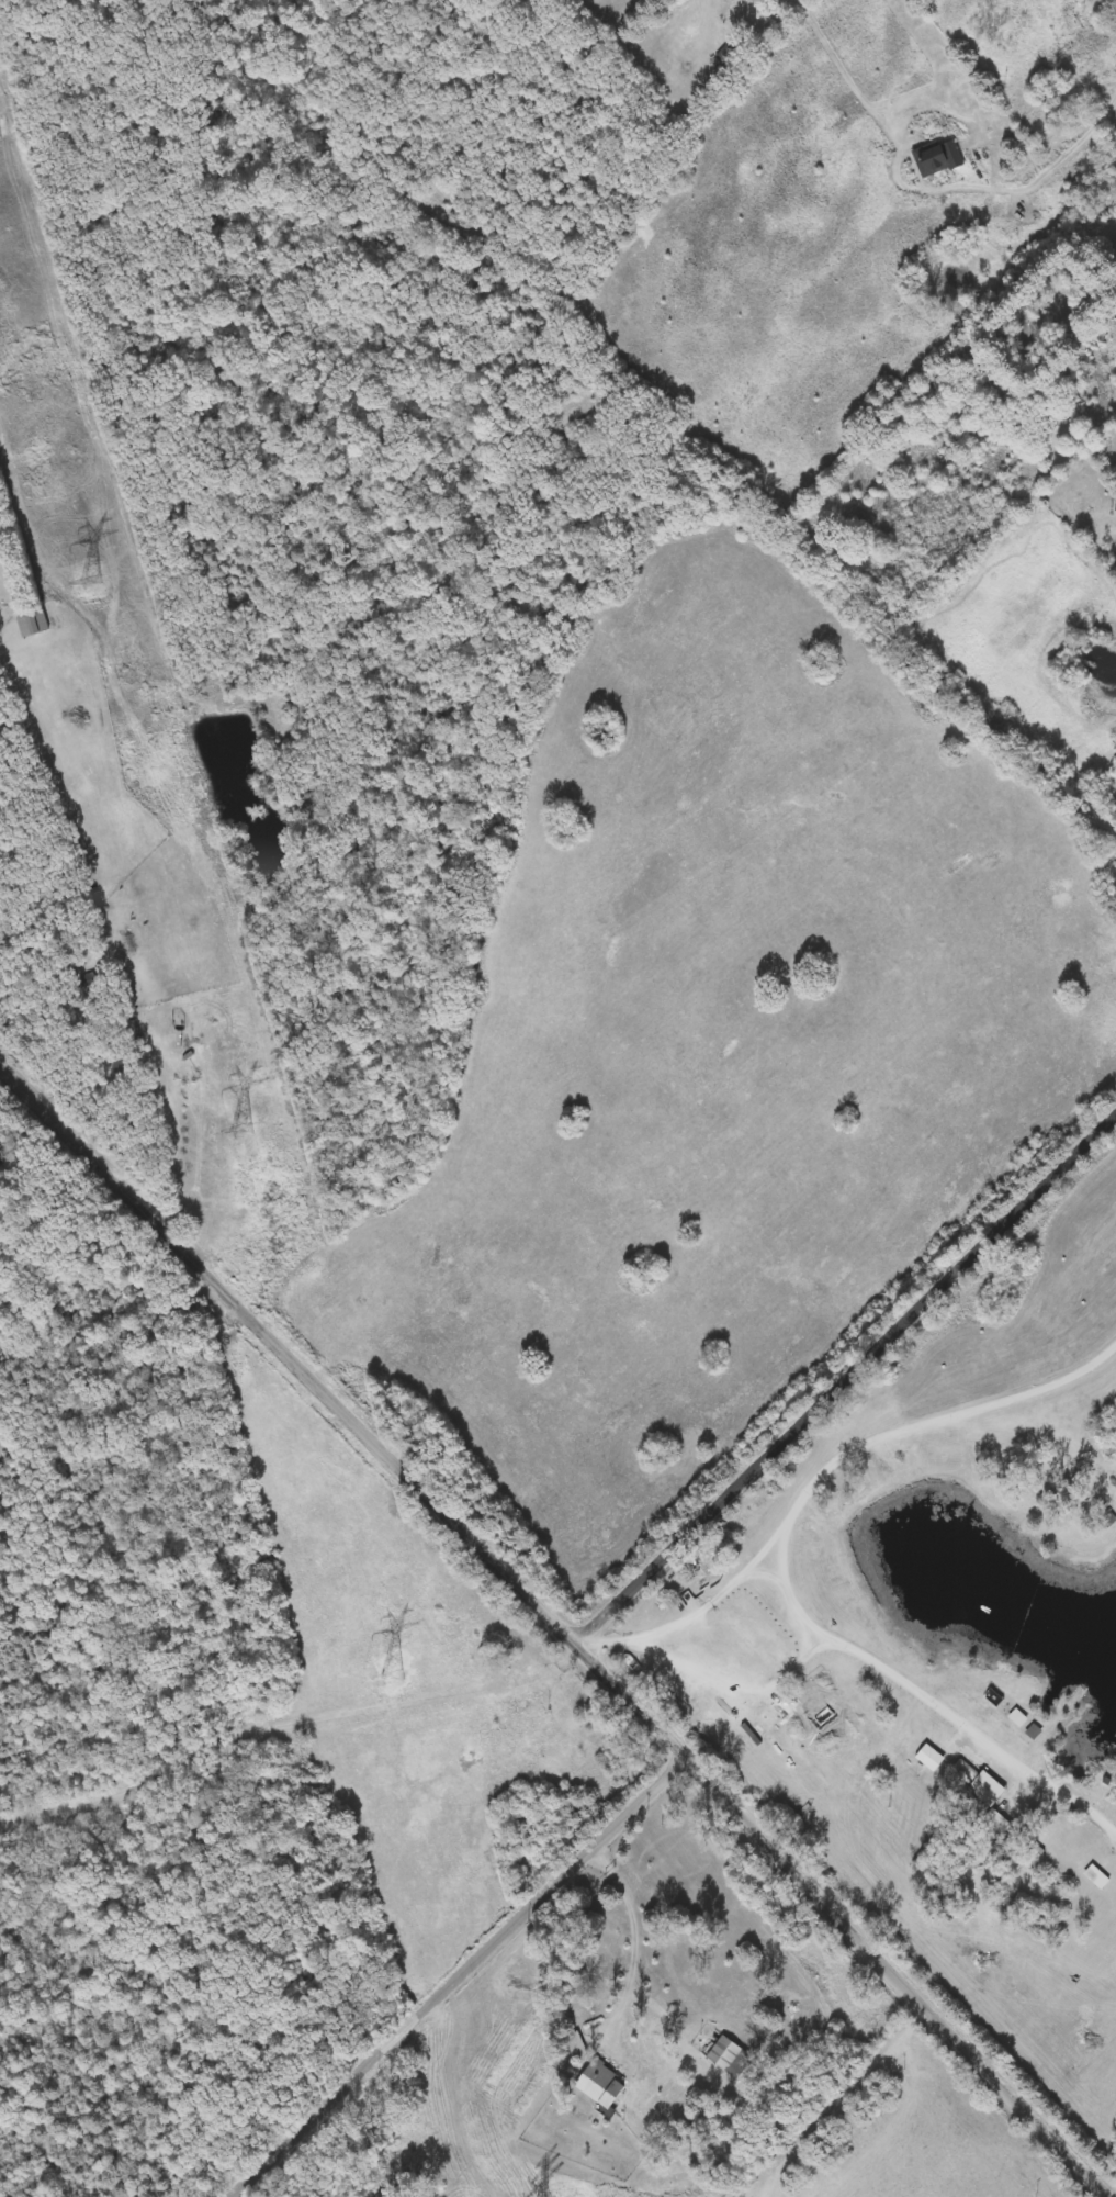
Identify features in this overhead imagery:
building: (725, 55)
road: (1095, 59)
road: (1112, 75)
building: (937, 158)
power tower: (90, 583)
building: (32, 624)
building: (124, 1028)
road: (172, 1121)
power tower: (244, 1131)
road: (845, 1377)
road: (888, 1437)
building: (1106, 1521)
road: (561, 1627)
road: (649, 1635)
road: (887, 1672)
power tower: (391, 1678)
road: (418, 1699)
building: (788, 1704)
building: (1016, 1718)
building: (928, 1758)
building: (985, 1789)
building: (1094, 1876)
road: (458, 1975)
road: (628, 1979)
building: (575, 2044)
building: (730, 2058)
building: (600, 2085)

